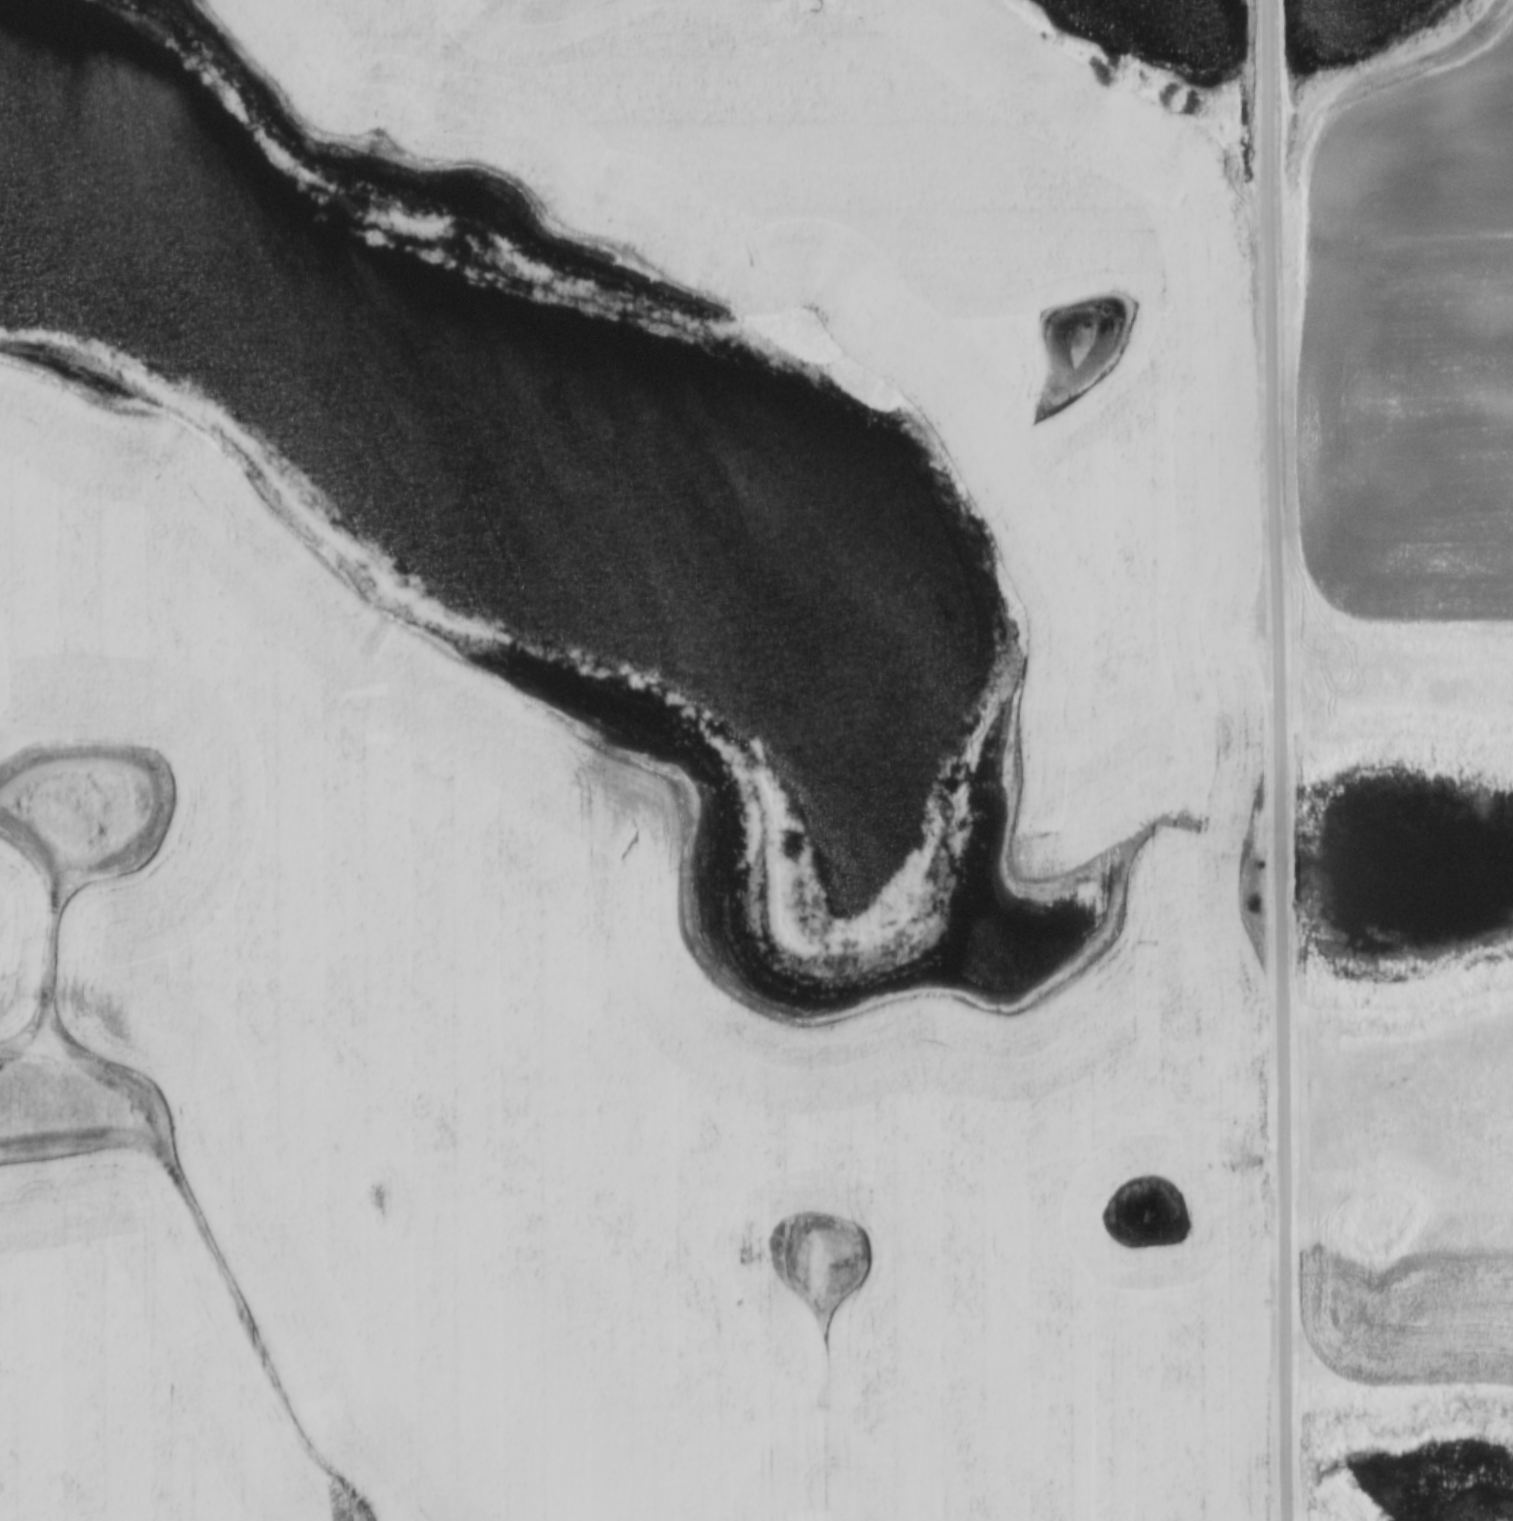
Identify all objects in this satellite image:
road: (1284, 760)

